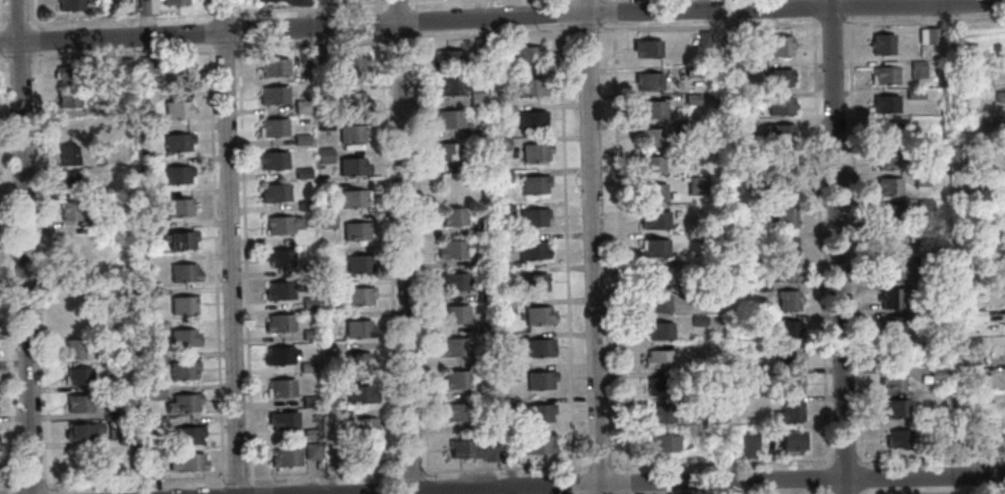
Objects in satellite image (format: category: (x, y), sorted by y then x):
building: (269, 0)
road: (560, 0)
road: (613, 0)
road: (429, 1)
building: (175, 2)
building: (291, 2)
building: (302, 2)
building: (318, 2)
road: (399, 2)
building: (70, 4)
road: (413, 4)
building: (121, 6)
building: (150, 6)
road: (382, 6)
building: (142, 7)
road: (311, 7)
road: (235, 9)
road: (813, 9)
road: (850, 9)
road: (207, 10)
road: (613, 11)
road: (34, 13)
road: (223, 13)
road: (502, 16)
road: (120, 17)
road: (413, 19)
road: (925, 21)
road: (17, 22)
road: (2, 23)
road: (383, 23)
road: (832, 23)
road: (586, 28)
road: (709, 28)
road: (236, 30)
road: (208, 32)
building: (931, 36)
building: (731, 38)
road: (36, 39)
road: (0, 40)
road: (403, 40)
building: (704, 40)
building: (494, 43)
building: (882, 45)
building: (1001, 45)
building: (479, 46)
building: (780, 47)
building: (647, 48)
road: (223, 49)
road: (121, 53)
building: (319, 54)
building: (304, 55)
street lamp: (3, 57)
road: (18, 57)
building: (524, 57)
road: (3, 59)
building: (448, 59)
building: (352, 64)
building: (125, 66)
building: (146, 66)
building: (273, 67)
building: (917, 69)
building: (692, 71)
building: (177, 72)
building: (733, 72)
building: (66, 75)
building: (885, 75)
building: (778, 77)
building: (497, 78)
building: (648, 81)
building: (448, 85)
building: (322, 87)
building: (529, 88)
building: (914, 93)
building: (146, 96)
building: (273, 96)
building: (1000, 97)
building: (67, 99)
building: (476, 99)
building: (692, 99)
building: (352, 101)
building: (886, 104)
building: (301, 106)
building: (780, 107)
building: (652, 109)
building: (178, 111)
building: (498, 111)
building: (447, 119)
building: (324, 120)
building: (531, 120)
building: (977, 121)
building: (733, 125)
building: (685, 127)
building: (66, 128)
building: (147, 128)
building: (273, 128)
building: (476, 132)
building: (885, 132)
building: (352, 133)
building: (780, 133)
building: (95, 136)
building: (651, 137)
building: (301, 140)
building: (177, 143)
building: (501, 144)
building: (447, 151)
building: (535, 152)
building: (67, 155)
building: (324, 155)
building: (272, 160)
building: (887, 161)
building: (146, 162)
building: (477, 165)
building: (649, 166)
building: (786, 166)
building: (353, 167)
building: (302, 173)
building: (176, 175)
building: (502, 176)
building: (921, 179)
building: (68, 183)
building: (534, 185)
building: (737, 185)
building: (697, 186)
building: (888, 186)
building: (325, 187)
building: (782, 189)
building: (653, 193)
building: (275, 194)
building: (354, 198)
building: (306, 206)
building: (924, 207)
building: (502, 208)
building: (178, 209)
building: (69, 211)
building: (888, 215)
building: (122, 216)
building: (455, 216)
building: (532, 217)
building: (785, 217)
building: (327, 220)
building: (654, 221)
building: (282, 225)
building: (151, 227)
building: (356, 230)
building: (481, 230)
building: (923, 233)
building: (979, 235)
building: (701, 236)
road: (566, 237)
building: (181, 240)
road: (856, 242)
road: (819, 243)
building: (501, 244)
building: (890, 244)
road: (618, 245)
road: (23, 246)
road: (404, 246)
road: (591, 246)
building: (783, 246)
road: (229, 247)
building: (654, 247)
road: (837, 247)
building: (451, 249)
road: (419, 250)
building: (532, 252)
road: (389, 253)
building: (279, 257)
building: (988, 258)
road: (243, 260)
building: (483, 260)
road: (214, 261)
building: (358, 264)
building: (745, 266)
building: (895, 270)
building: (305, 271)
road: (42, 272)
road: (6, 273)
building: (184, 273)
building: (784, 273)
building: (654, 276)
building: (454, 281)
building: (328, 283)
building: (534, 283)
building: (988, 287)
building: (282, 290)
building: (692, 292)
building: (151, 293)
building: (485, 293)
building: (359, 296)
building: (890, 298)
building: (787, 301)
building: (308, 303)
building: (655, 304)
building: (183, 305)
building: (503, 310)
building: (454, 314)
building: (538, 315)
building: (975, 315)
building: (328, 317)
building: (923, 317)
building: (698, 320)
building: (747, 321)
building: (279, 324)
building: (152, 325)
building: (892, 326)
building: (482, 327)
building: (359, 329)
building: (786, 329)
building: (658, 331)
building: (309, 334)
building: (183, 338)
building: (507, 340)
building: (929, 345)
building: (970, 345)
building: (453, 347)
building: (757, 347)
building: (73, 348)
building: (540, 348)
building: (894, 353)
building: (279, 356)
building: (787, 356)
building: (974, 356)
building: (154, 359)
building: (657, 359)
building: (357, 361)
building: (306, 367)
building: (183, 370)
building: (509, 374)
building: (938, 374)
building: (970, 374)
building: (78, 375)
building: (331, 380)
building: (455, 380)
building: (539, 380)
building: (893, 382)
building: (792, 384)
building: (657, 386)
building: (280, 389)
building: (155, 392)
building: (360, 395)
building: (973, 399)
building: (309, 402)
building: (78, 403)
building: (183, 404)
building: (507, 404)
building: (692, 406)
building: (124, 409)
building: (895, 409)
building: (458, 411)
building: (332, 412)
building: (538, 412)
building: (788, 413)
building: (658, 415)
building: (283, 421)
building: (487, 423)
building: (157, 425)
building: (363, 427)
building: (79, 431)
building: (310, 434)
building: (188, 435)
building: (127, 436)
building: (897, 439)
building: (789, 441)
building: (975, 441)
building: (662, 443)
building: (537, 446)
building: (748, 446)
building: (311, 451)
building: (471, 451)
building: (366, 455)
building: (507, 456)
road: (929, 457)
building: (285, 459)
road: (843, 460)
road: (720, 462)
building: (188, 464)
road: (598, 465)
road: (503, 468)
building: (155, 471)
road: (410, 472)
road: (323, 475)
road: (863, 477)
road: (826, 478)
road: (236, 480)
road: (191, 481)
road: (626, 482)
road: (683, 482)
road: (574, 483)
road: (25, 487)
road: (156, 487)
road: (9, 488)
road: (826, 491)
road: (863, 491)
road: (49, 493)
road: (626, 493)
road: (928, 493)

